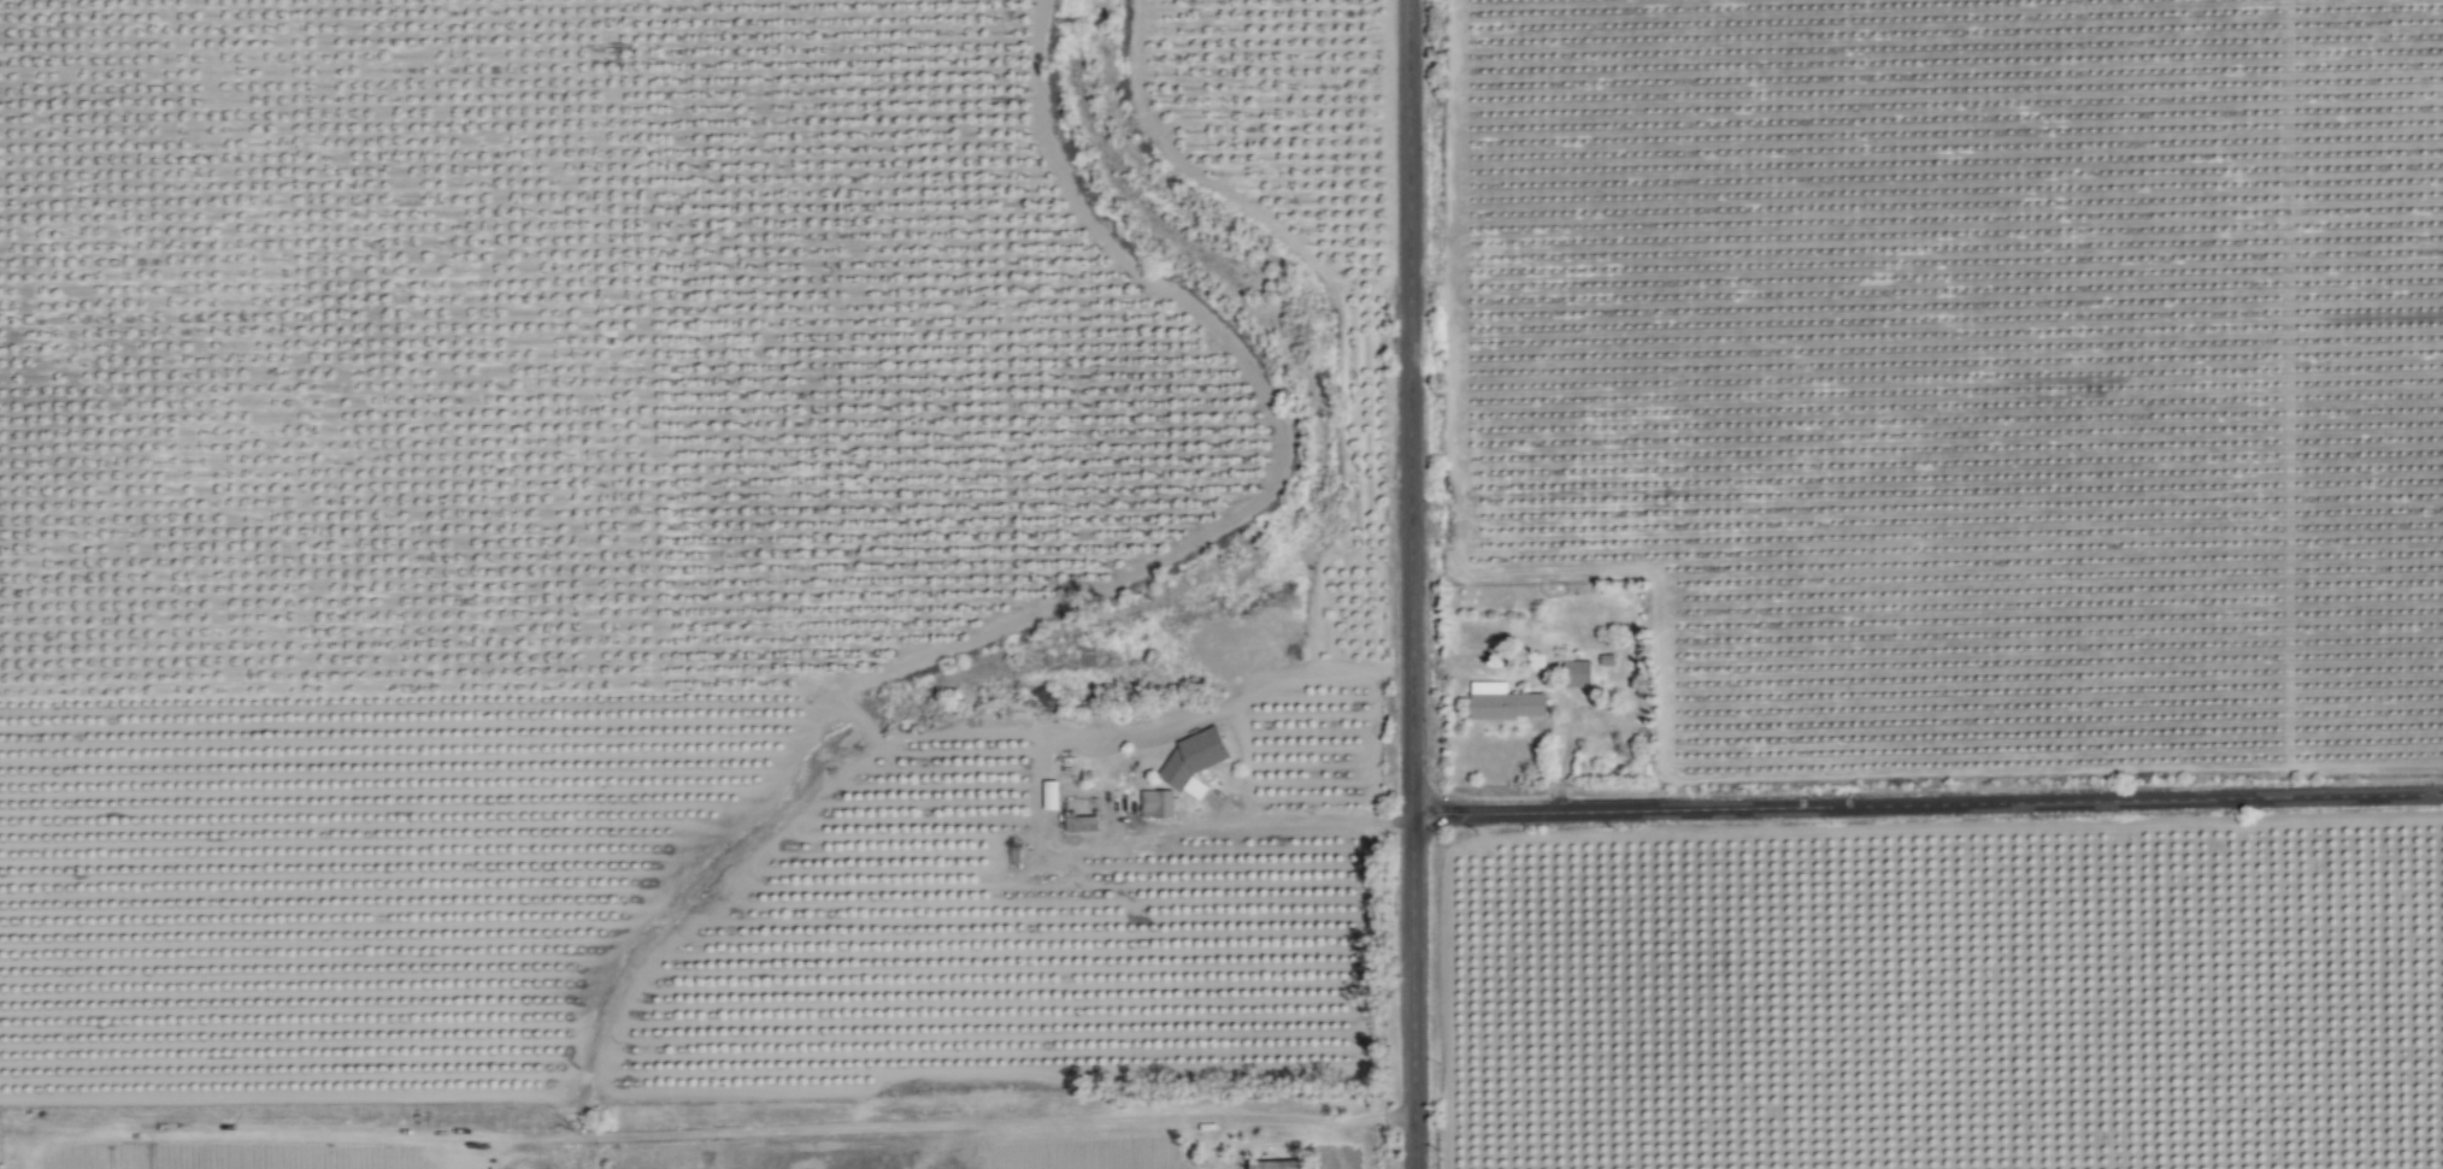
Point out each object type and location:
road: (1412, 584)
building: (1578, 675)
building: (1507, 703)
building: (1196, 762)
building: (1160, 804)
road: (1927, 805)
road: (1299, 819)

